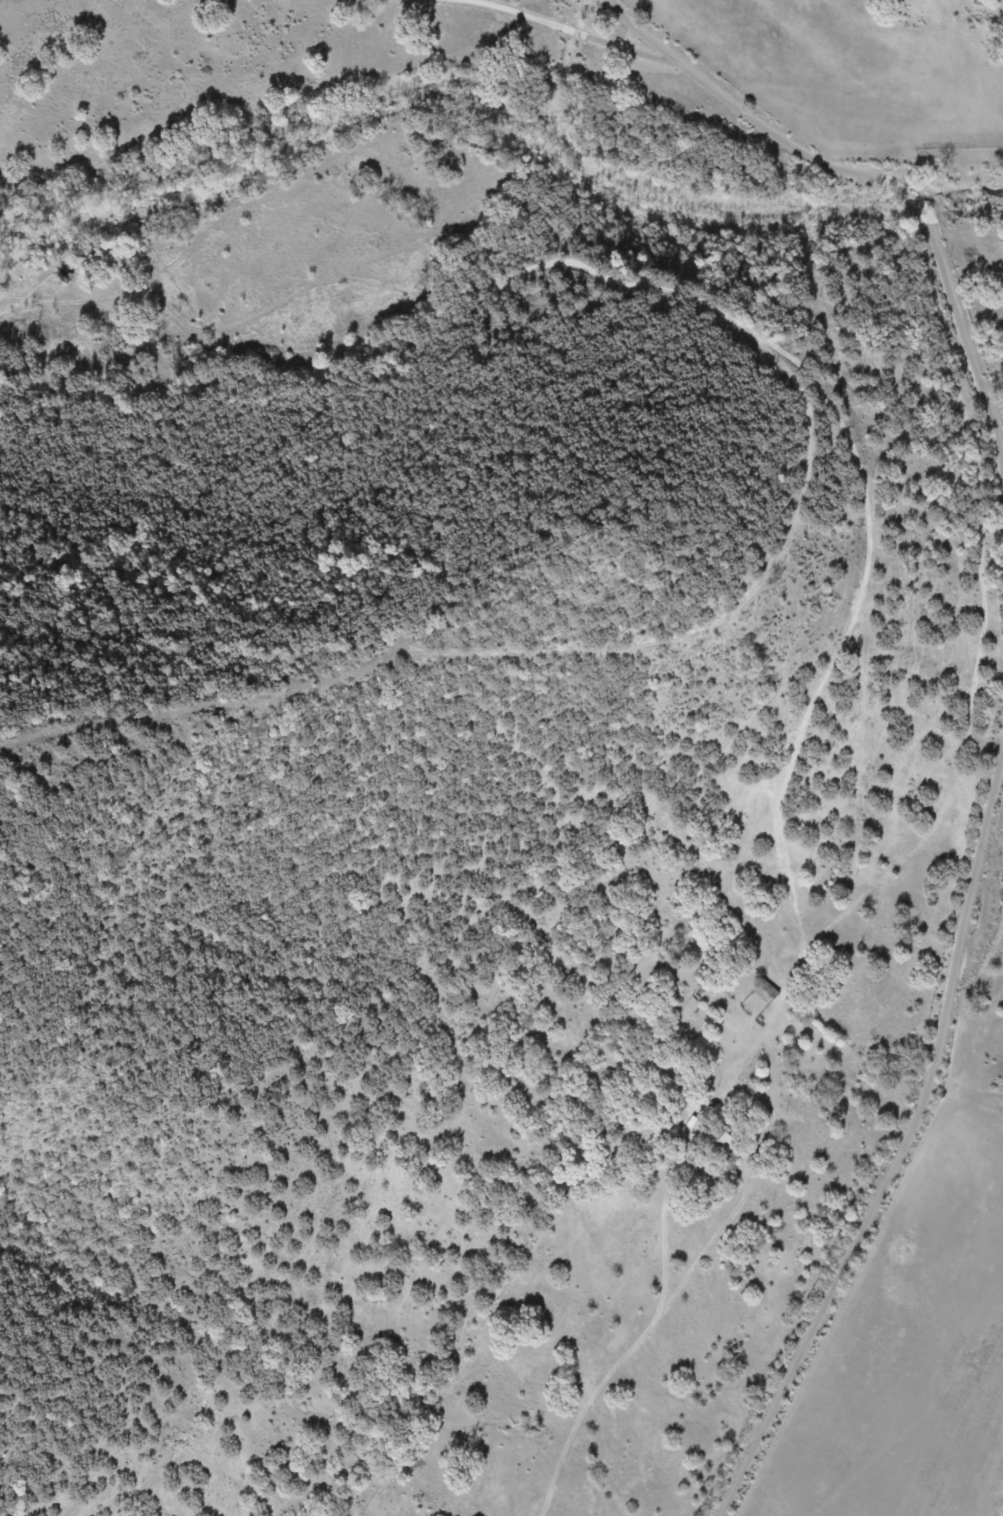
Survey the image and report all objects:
road: (867, 173)
road: (903, 1154)
road: (639, 1343)

